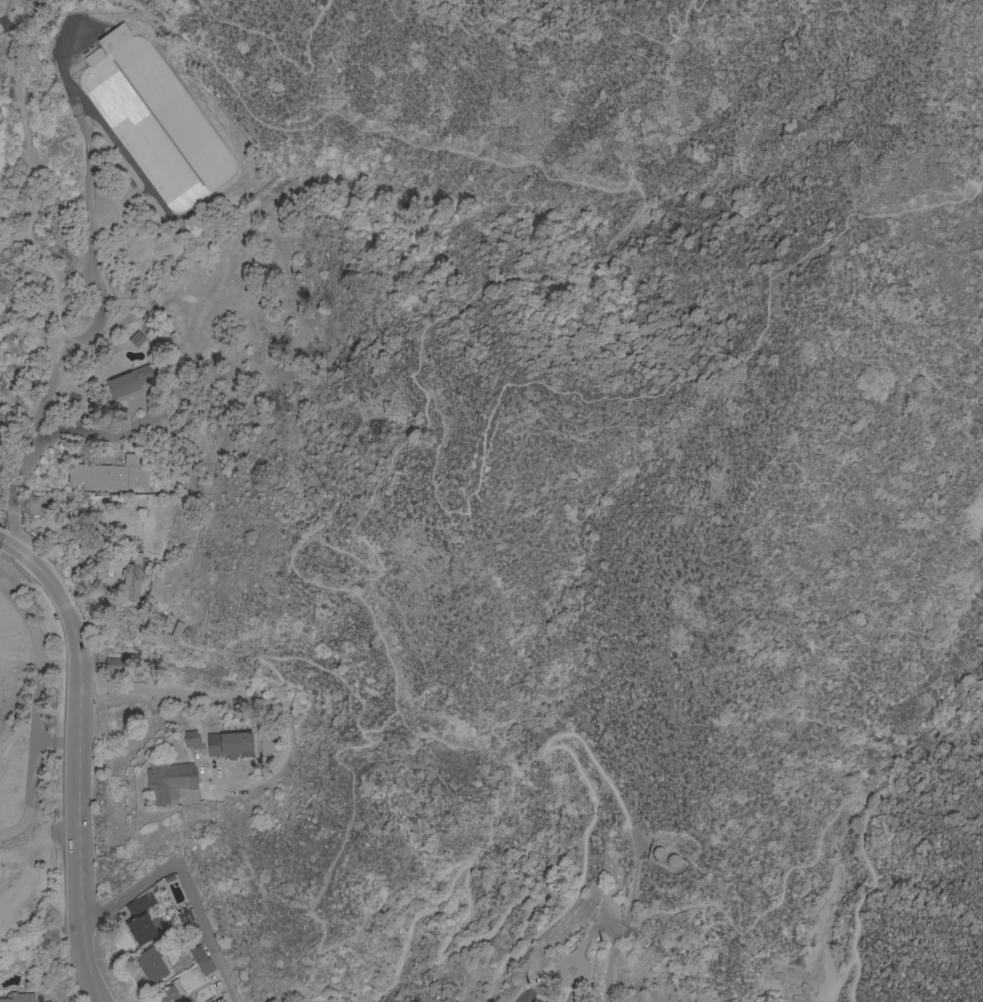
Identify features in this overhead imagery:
building: (0, 1)
road: (152, 3)
road: (395, 7)
road: (691, 10)
road: (1, 15)
road: (32, 23)
road: (6, 24)
road: (571, 34)
building: (113, 37)
road: (272, 50)
building: (94, 57)
building: (159, 125)
road: (29, 162)
road: (96, 253)
road: (62, 320)
building: (137, 340)
road: (413, 377)
building: (128, 383)
road: (43, 441)
building: (109, 476)
building: (33, 505)
road: (313, 540)
road: (0, 541)
road: (6, 545)
dam: (979, 563)
building: (132, 579)
building: (171, 636)
building: (113, 666)
building: (191, 740)
road: (295, 743)
building: (230, 745)
road: (426, 746)
road: (337, 750)
road: (80, 763)
building: (168, 782)
dam: (866, 784)
road: (860, 800)
building: (659, 854)
building: (674, 861)
road: (184, 879)
road: (858, 899)
building: (141, 905)
road: (759, 915)
building: (184, 916)
road: (598, 923)
building: (141, 930)
road: (542, 935)
building: (198, 954)
building: (150, 965)
building: (206, 967)
road: (840, 978)
building: (168, 995)
building: (19, 998)
building: (188, 1000)
building: (211, 1001)
building: (533, 1001)

